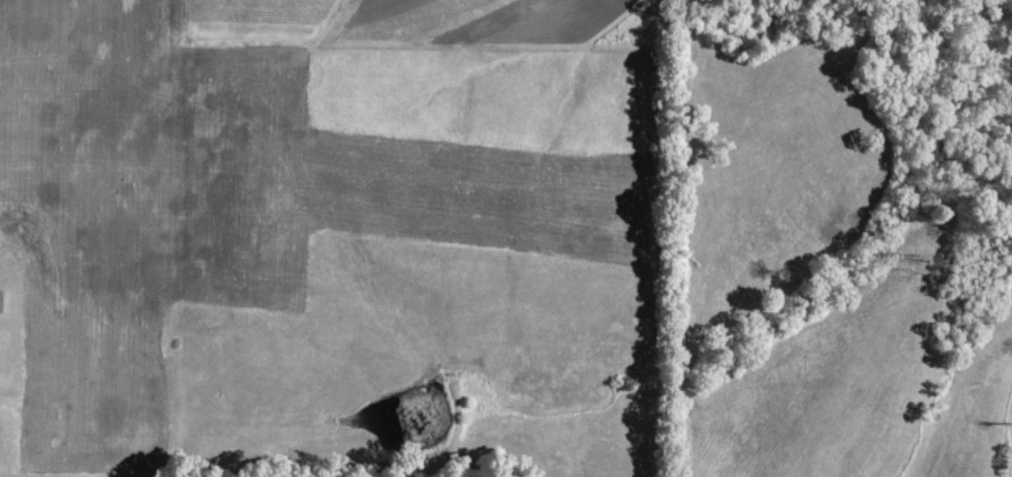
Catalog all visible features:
building: (4, 301)

